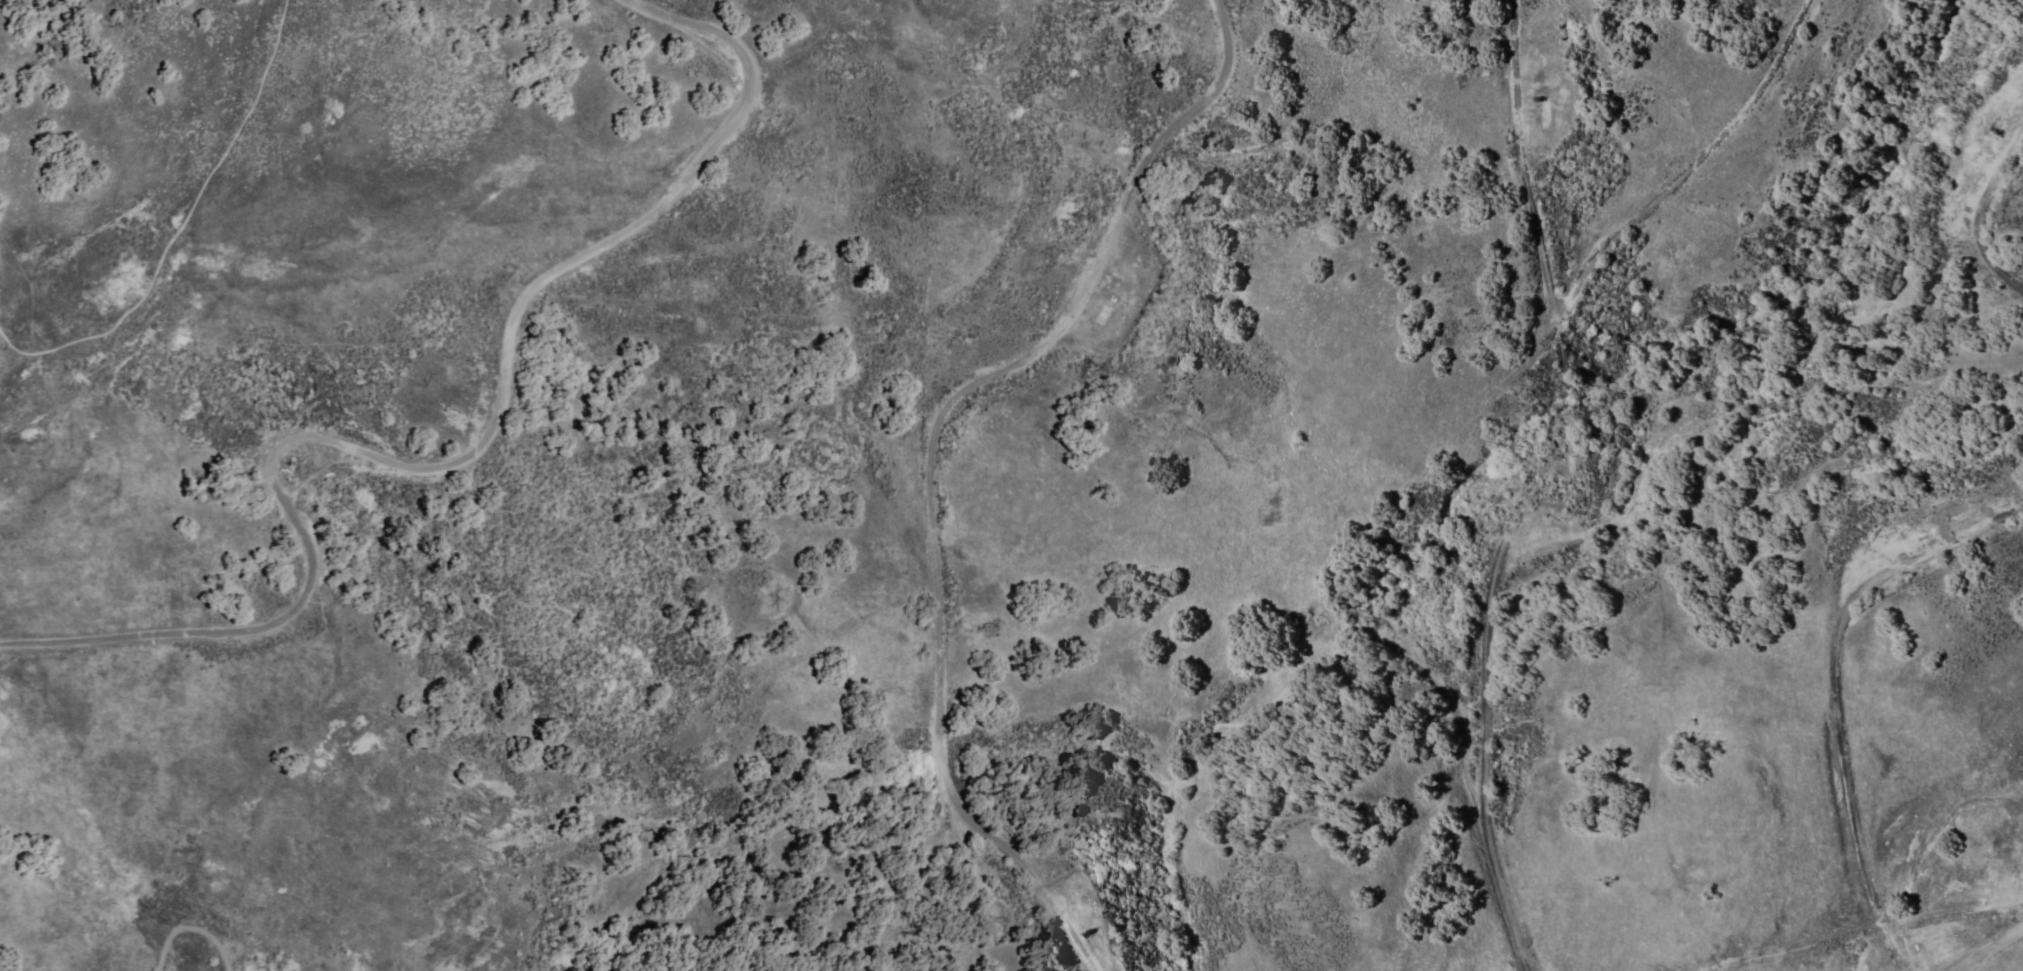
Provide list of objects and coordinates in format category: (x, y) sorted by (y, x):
road: (1685, 175)
road: (1985, 217)
road: (928, 454)
road: (455, 463)
road: (1532, 486)
road: (1942, 575)
road: (1836, 690)
road: (185, 921)
road: (1990, 947)

